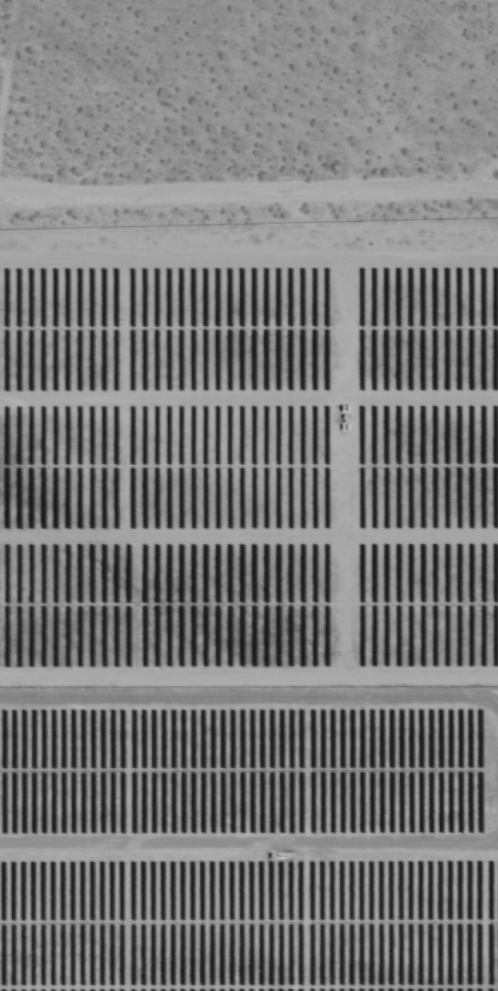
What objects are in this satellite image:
road: (249, 190)
solar farm: (249, 450)
solar farm: (249, 837)

